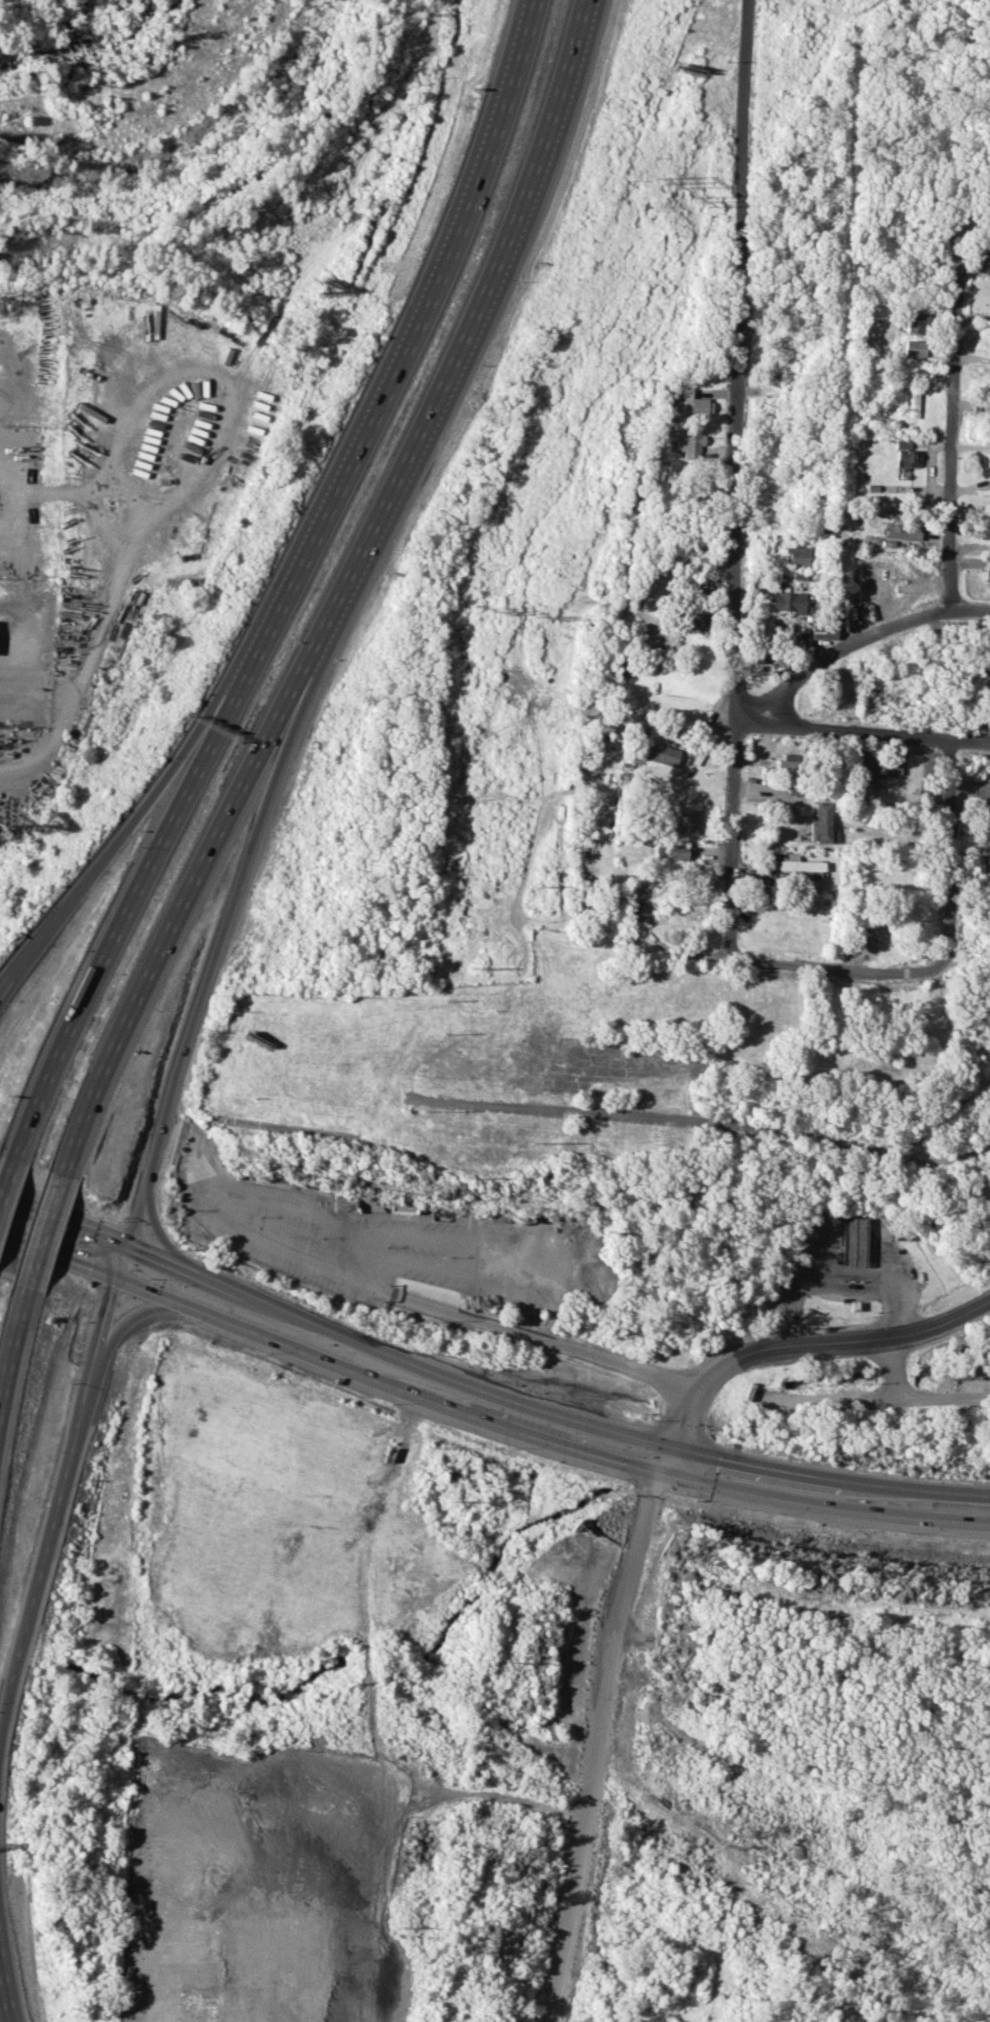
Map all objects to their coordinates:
power tower: (661, 183)
power tower: (701, 200)
building: (988, 260)
building: (916, 322)
road: (459, 341)
building: (914, 347)
road: (394, 364)
building: (914, 398)
building: (695, 403)
road: (952, 432)
building: (690, 441)
building: (905, 454)
building: (987, 457)
road: (738, 477)
building: (901, 528)
building: (797, 555)
building: (987, 574)
building: (788, 601)
power tower: (493, 606)
power tower: (548, 618)
building: (696, 620)
building: (823, 629)
road: (852, 642)
road: (861, 731)
building: (664, 754)
building: (786, 761)
building: (894, 766)
building: (871, 776)
building: (683, 822)
building: (819, 823)
building: (989, 840)
road: (109, 851)
building: (676, 851)
road: (953, 853)
building: (799, 866)
power tower: (543, 885)
road: (173, 920)
road: (118, 937)
power tower: (478, 967)
road: (836, 970)
road: (214, 974)
road: (699, 1121)
power tower: (536, 1144)
road: (5, 1176)
power tower: (468, 1176)
road: (288, 1204)
building: (402, 1205)
road: (153, 1227)
road: (41, 1231)
road: (258, 1240)
building: (856, 1242)
traffic signals: (124, 1243)
road: (466, 1247)
road: (57, 1256)
road: (634, 1258)
road: (839, 1273)
traffic signals: (115, 1275)
road: (107, 1310)
road: (132, 1313)
road: (9, 1329)
road: (330, 1330)
road: (533, 1337)
road: (837, 1342)
road: (891, 1369)
road: (384, 1384)
road: (944, 1397)
road: (838, 1400)
road: (676, 1417)
traffic signals: (667, 1447)
road: (664, 1460)
traffic signals: (661, 1473)
road: (827, 1477)
power tower: (461, 1501)
road: (824, 1506)
road: (49, 1528)
power tower: (517, 1663)
road: (596, 1745)
power tower: (406, 1927)
power tower: (472, 1951)
road: (5, 1994)

